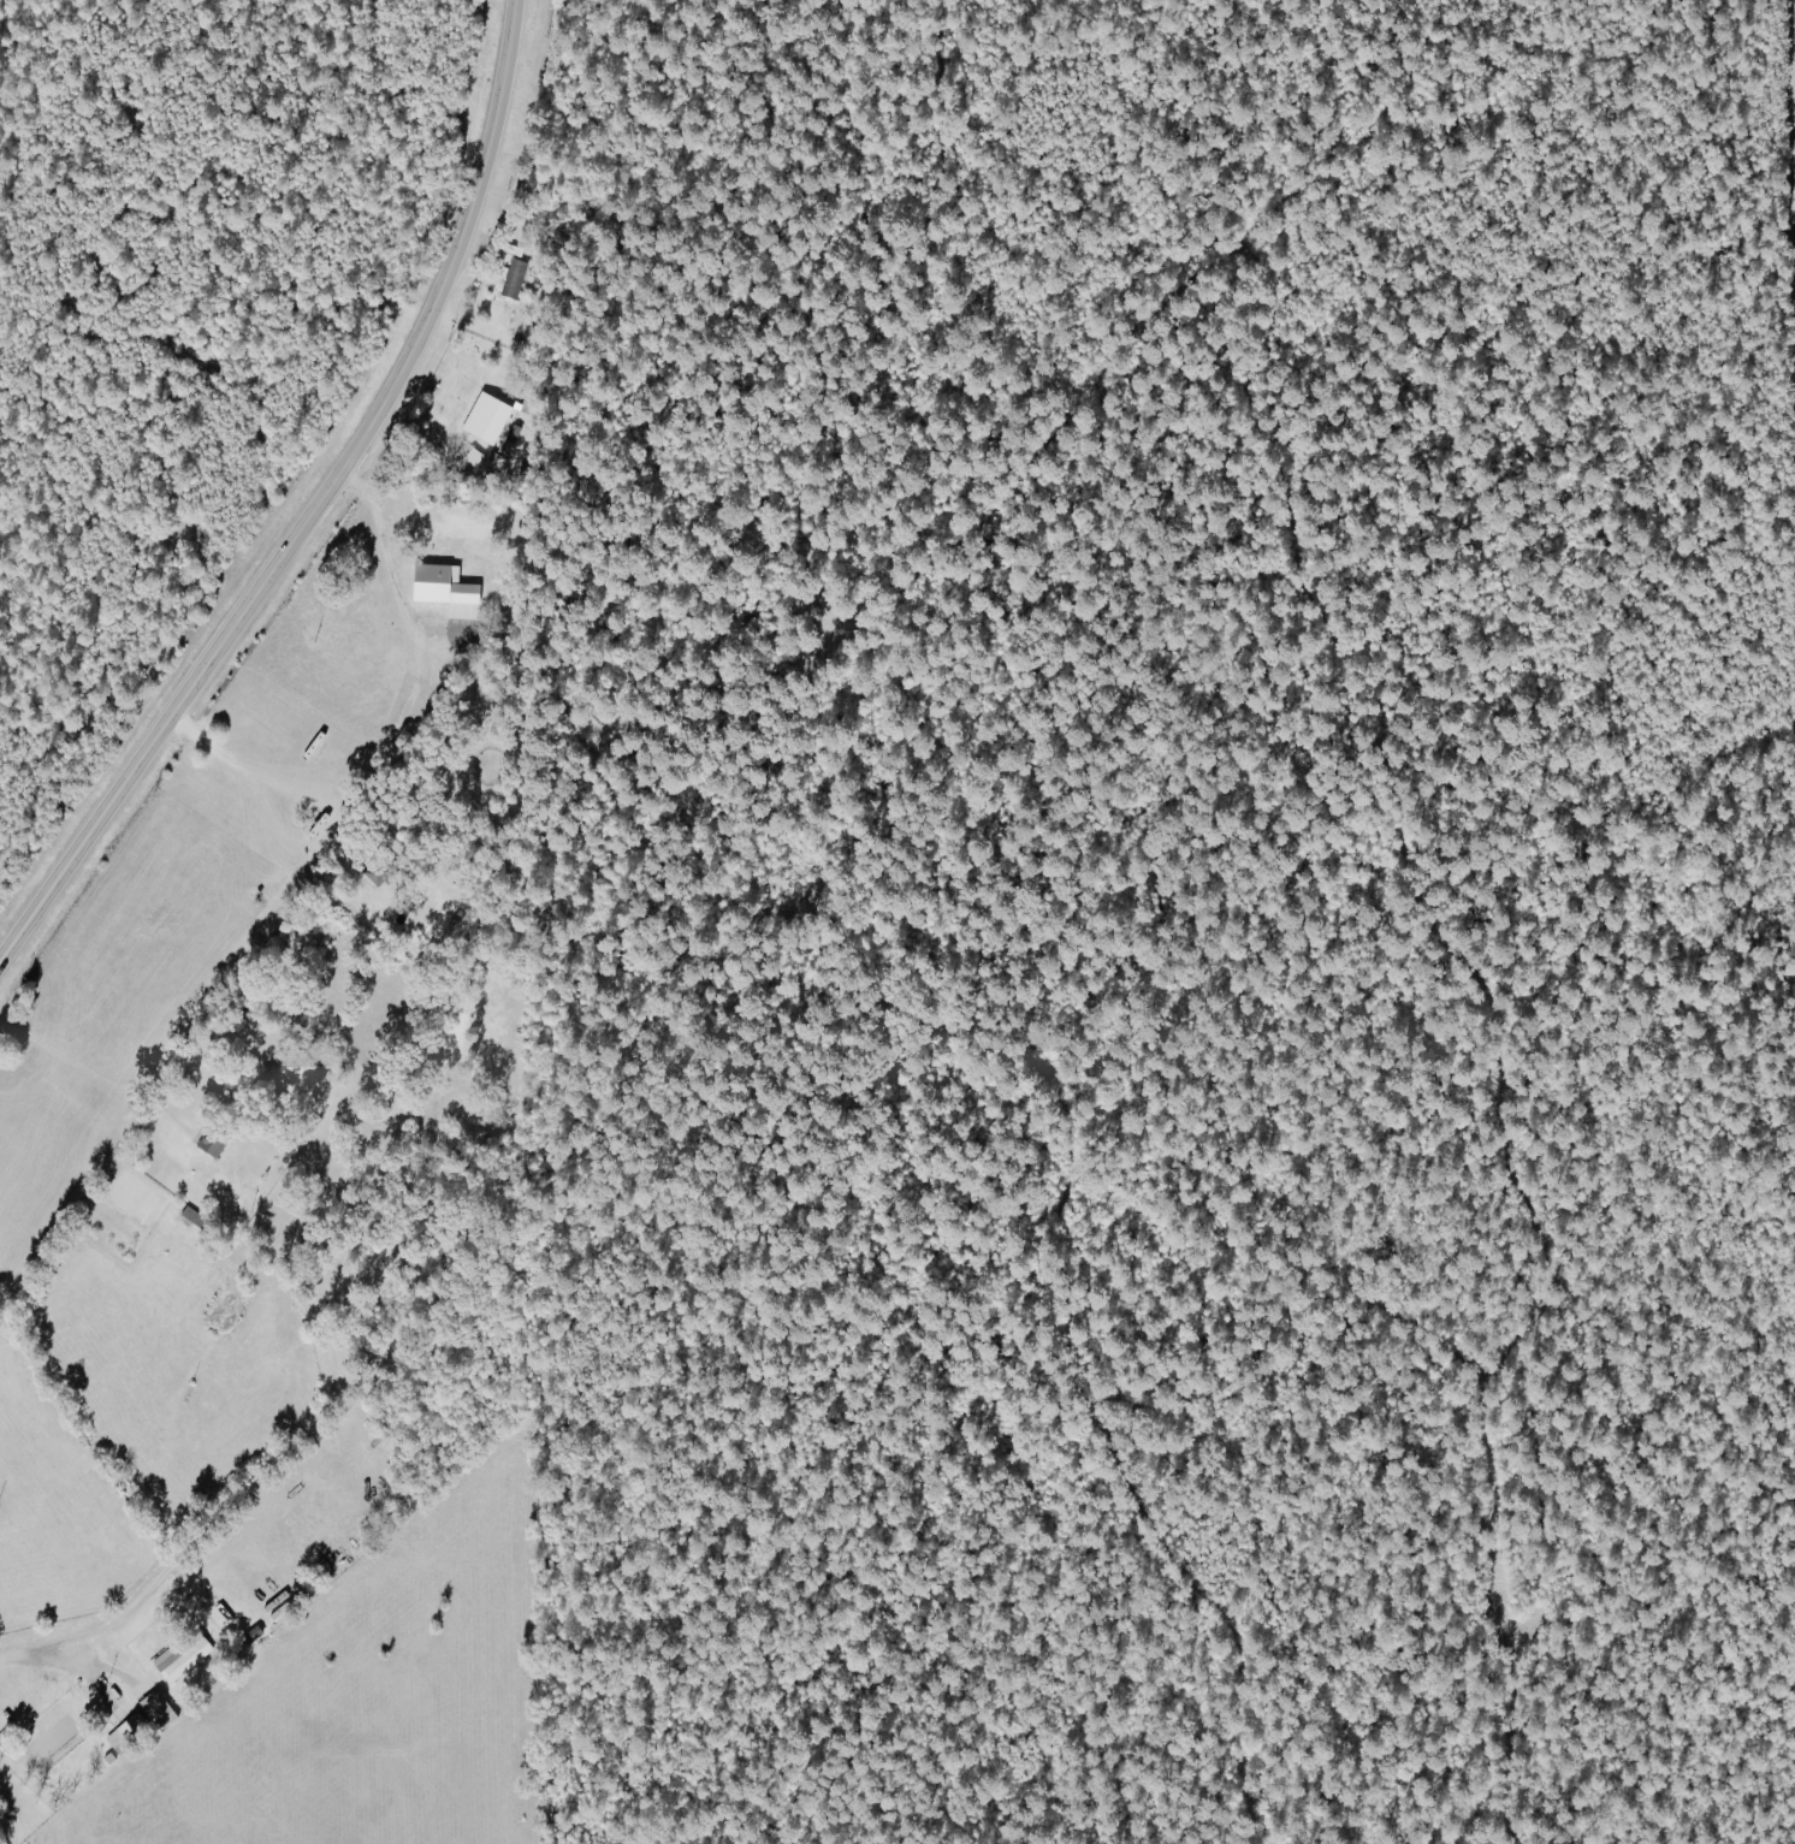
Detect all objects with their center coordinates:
building: (515, 280)
building: (484, 419)
road: (308, 498)
building: (440, 589)
road: (399, 597)
building: (211, 1143)
road: (235, 1501)
building: (249, 1636)
building: (180, 1658)
building: (155, 1710)
building: (128, 1733)

